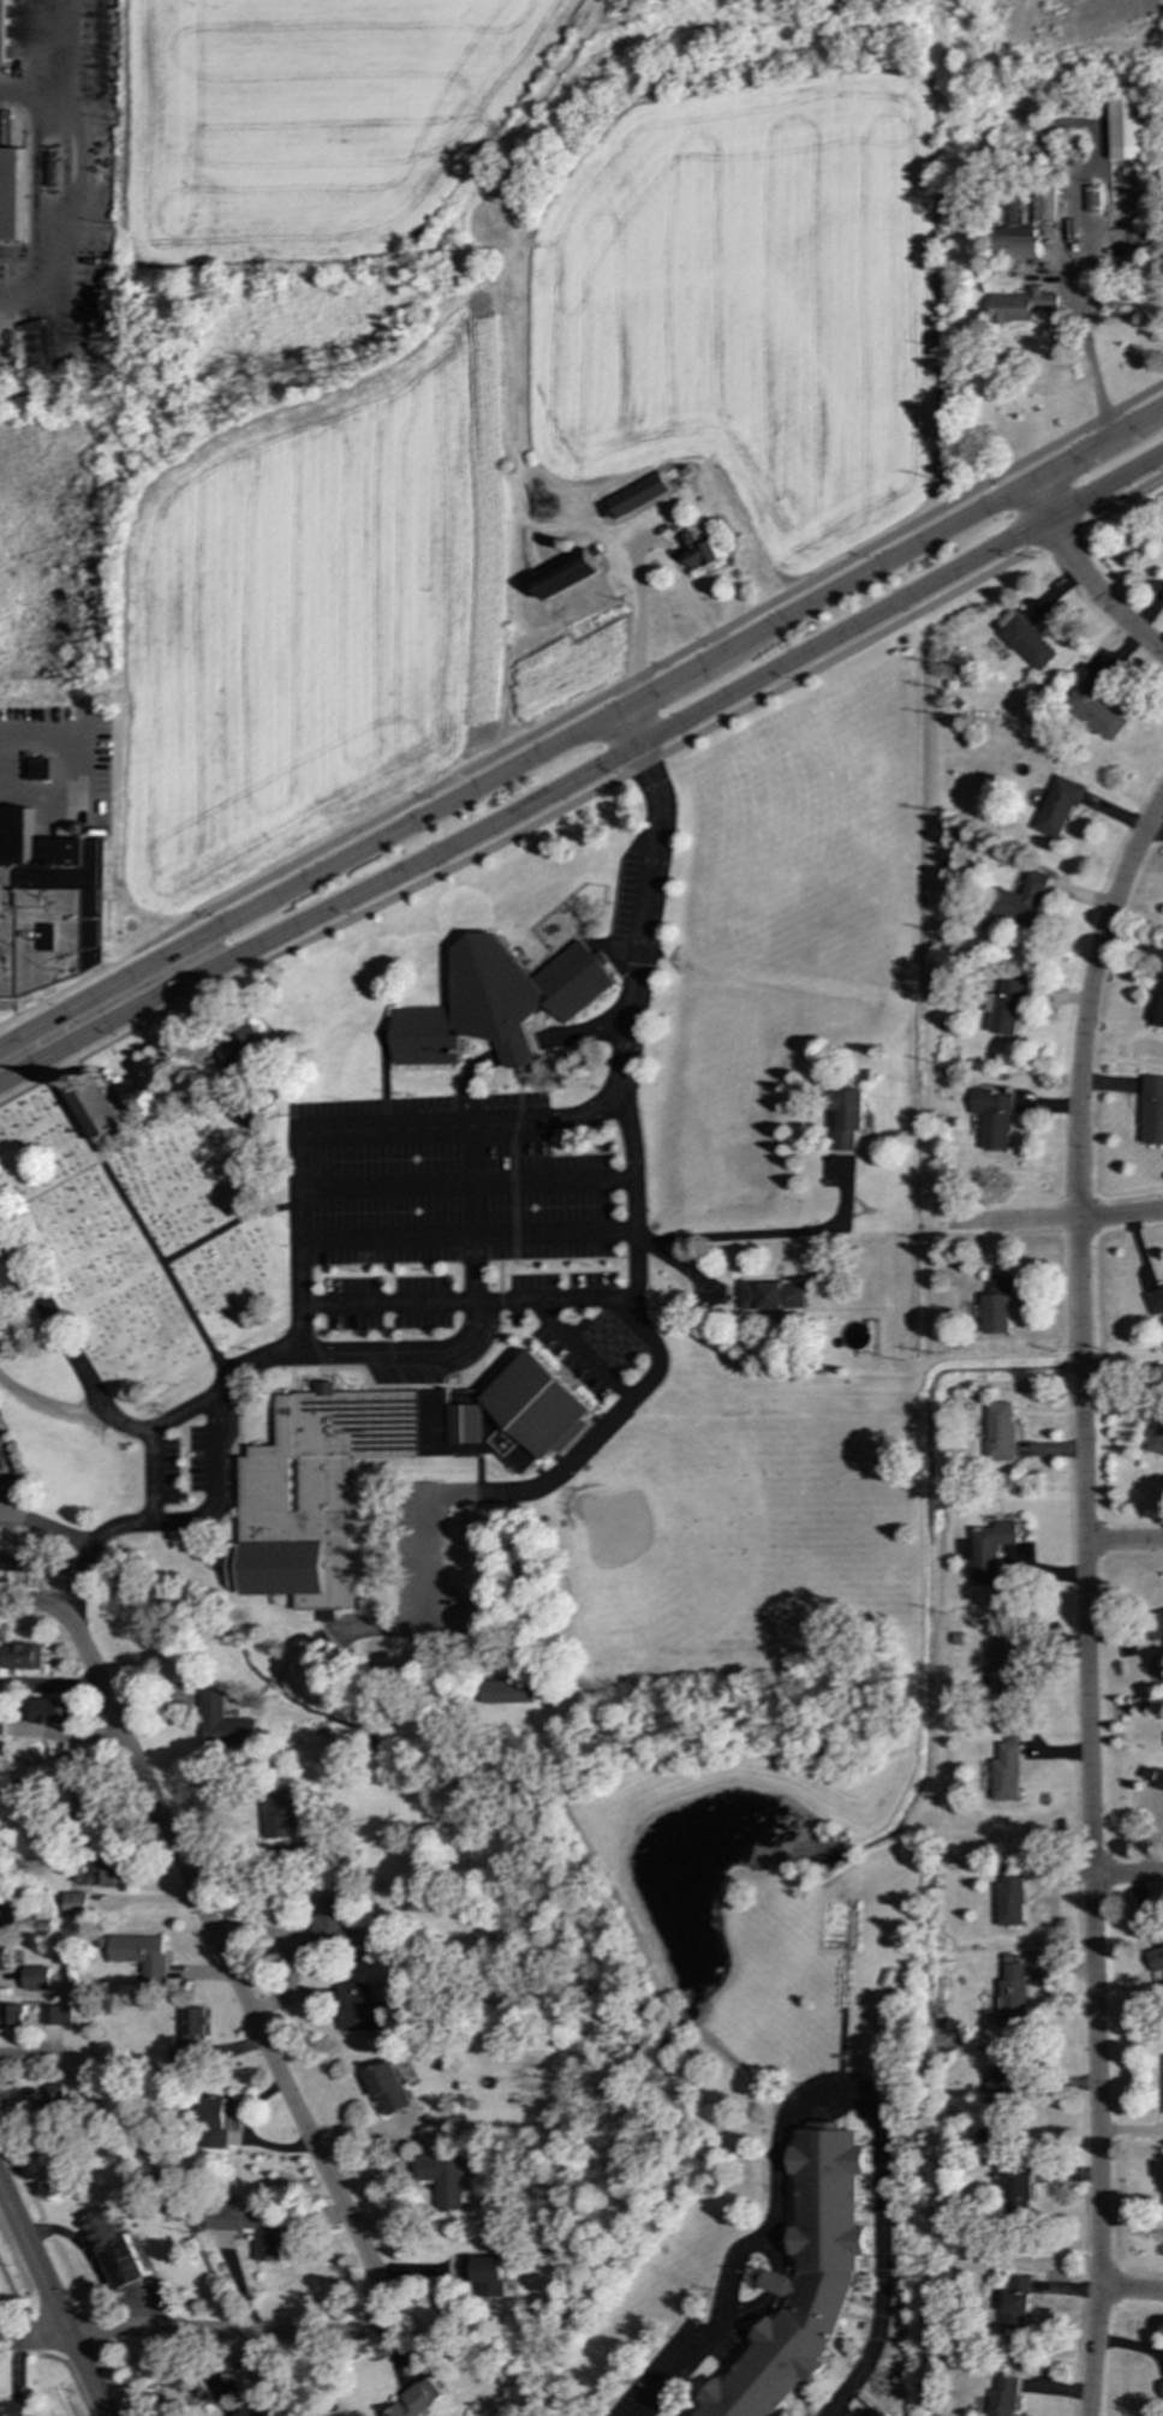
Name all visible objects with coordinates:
building: (2, 30)
road: (46, 58)
building: (1126, 127)
building: (11, 195)
building: (1043, 202)
building: (1015, 244)
building: (1019, 305)
road: (1079, 320)
crop: (472, 359)
building: (636, 495)
road: (644, 541)
building: (696, 551)
building: (563, 574)
road: (1083, 578)
building: (1027, 643)
road: (681, 649)
building: (1093, 709)
road: (717, 723)
road: (581, 727)
building: (37, 769)
road: (584, 772)
building: (1056, 805)
building: (1018, 900)
building: (47, 907)
road: (99, 970)
building: (495, 1002)
road: (628, 1002)
building: (1159, 1006)
building: (1003, 1007)
road: (132, 1030)
building: (240, 1046)
building: (1151, 1110)
building: (99, 1112)
building: (847, 1117)
building: (991, 1118)
road: (358, 1126)
road: (464, 1182)
road: (1055, 1219)
park: (141, 1223)
road: (757, 1224)
road: (466, 1235)
building: (770, 1295)
building: (1155, 1302)
building: (995, 1306)
road: (633, 1318)
road: (284, 1350)
road: (49, 1404)
building: (1000, 1432)
building: (1155, 1440)
road: (148, 1475)
building: (293, 1517)
road: (171, 1521)
road: (1123, 1541)
building: (986, 1551)
building: (372, 1591)
road: (32, 1599)
road: (1085, 1599)
building: (1155, 1624)
building: (20, 1656)
building: (1003, 1668)
building: (507, 1692)
building: (49, 1711)
building: (222, 1723)
building: (1, 1725)
building: (1, 1747)
building: (1006, 1773)
building: (1153, 1777)
building: (83, 1794)
building: (284, 1812)
building: (96, 1873)
road: (1128, 1874)
building: (1010, 1896)
building: (73, 1904)
building: (332, 1921)
building: (139, 1953)
building: (2, 1958)
building: (1155, 1958)
building: (35, 1977)
building: (1013, 1993)
building: (359, 2008)
building: (56, 2015)
building: (11, 2016)
building: (193, 2024)
road: (819, 2088)
building: (388, 2089)
building: (1004, 2094)
building: (50, 2104)
road: (293, 2106)
building: (215, 2123)
building: (442, 2178)
building: (1013, 2190)
building: (1162, 2205)
building: (1162, 2206)
building: (269, 2245)
building: (109, 2247)
building: (485, 2274)
building: (805, 2278)
road: (1132, 2291)
road: (780, 2295)
road: (12, 2297)
road: (50, 2302)
building: (1014, 2304)
road: (30, 2339)
road: (32, 2339)
road: (1128, 2345)
road: (70, 2378)
building: (1161, 2386)
building: (1002, 2396)
building: (414, 2399)
building: (12, 2409)
building: (246, 2412)

